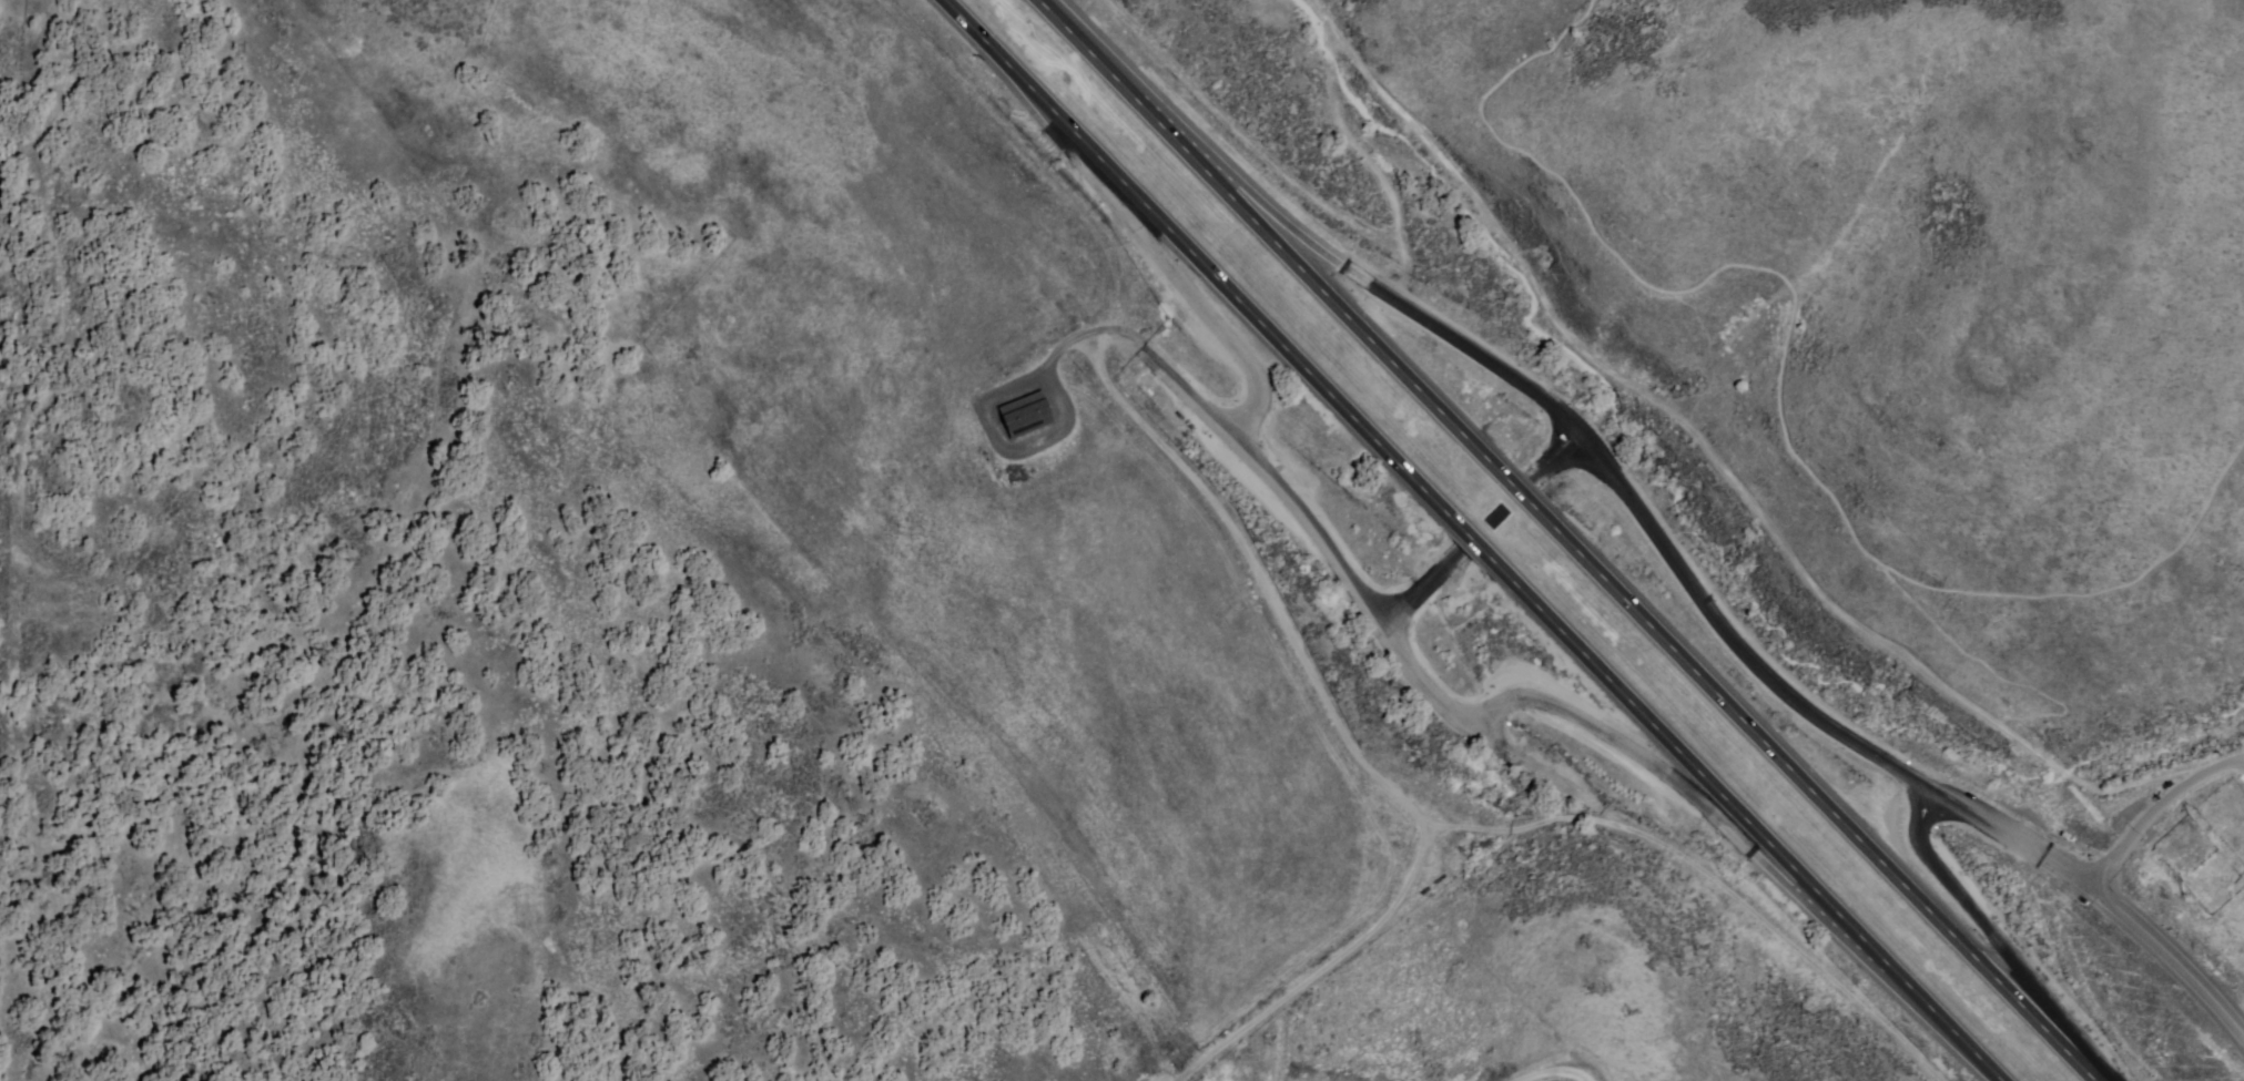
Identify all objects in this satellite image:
road: (1139, 231)
road: (1300, 231)
road: (1159, 378)
building: (1023, 412)
road: (1557, 455)
road: (1472, 540)
road: (1567, 540)
road: (1419, 588)
road: (1725, 621)
road: (1714, 814)
road: (2092, 873)
road: (1767, 926)
road: (1992, 935)

